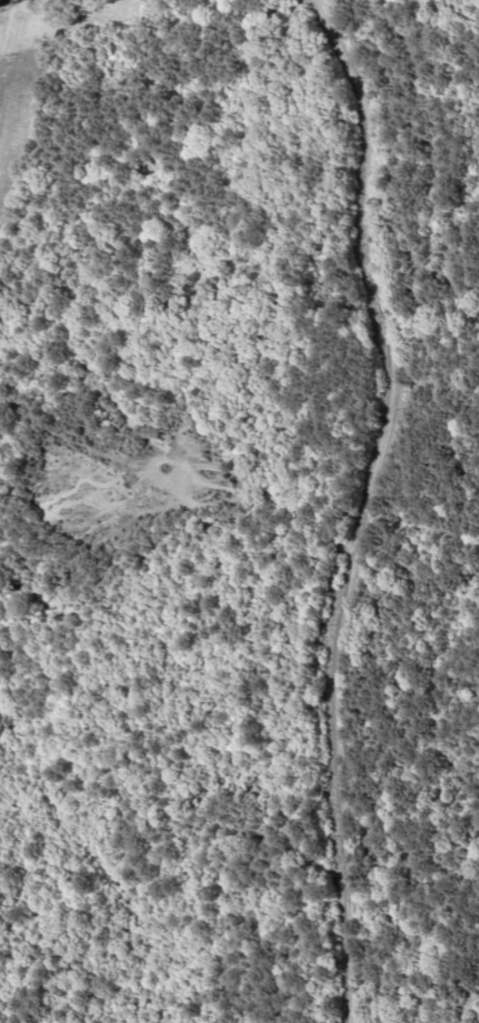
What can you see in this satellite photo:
road: (369, 505)

